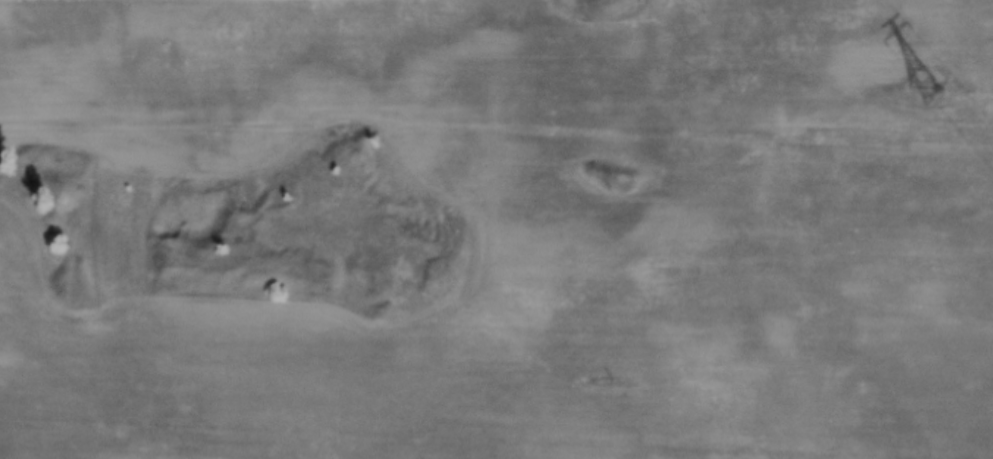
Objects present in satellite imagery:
power tower: (928, 90)

